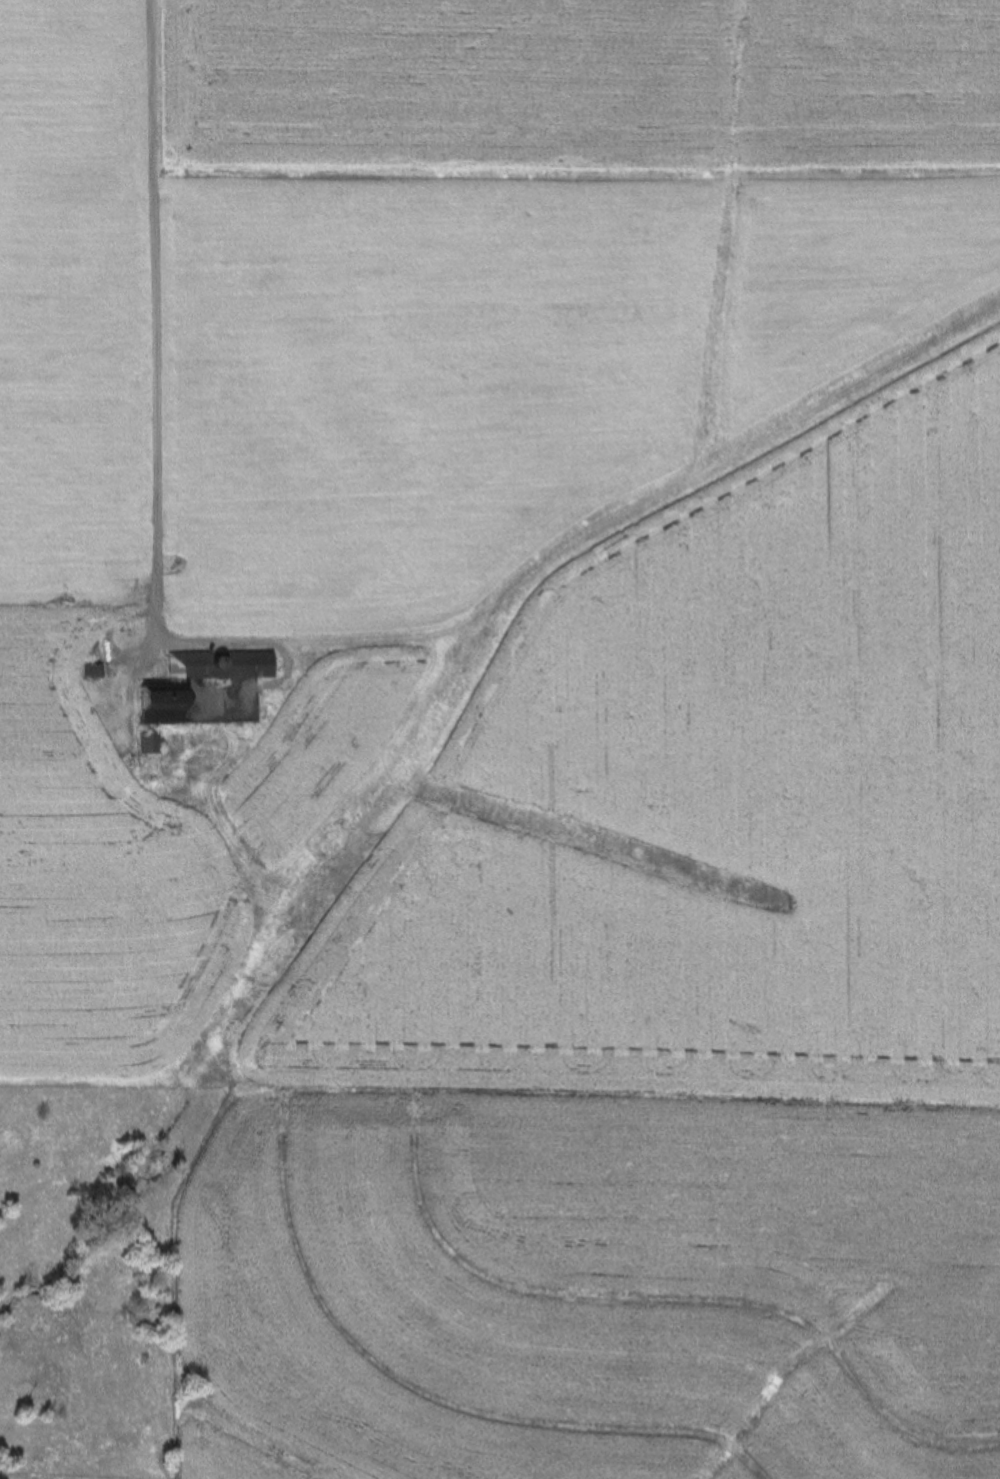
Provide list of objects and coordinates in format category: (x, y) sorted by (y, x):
road: (155, 407)
building: (90, 664)
building: (157, 706)
building: (146, 744)

